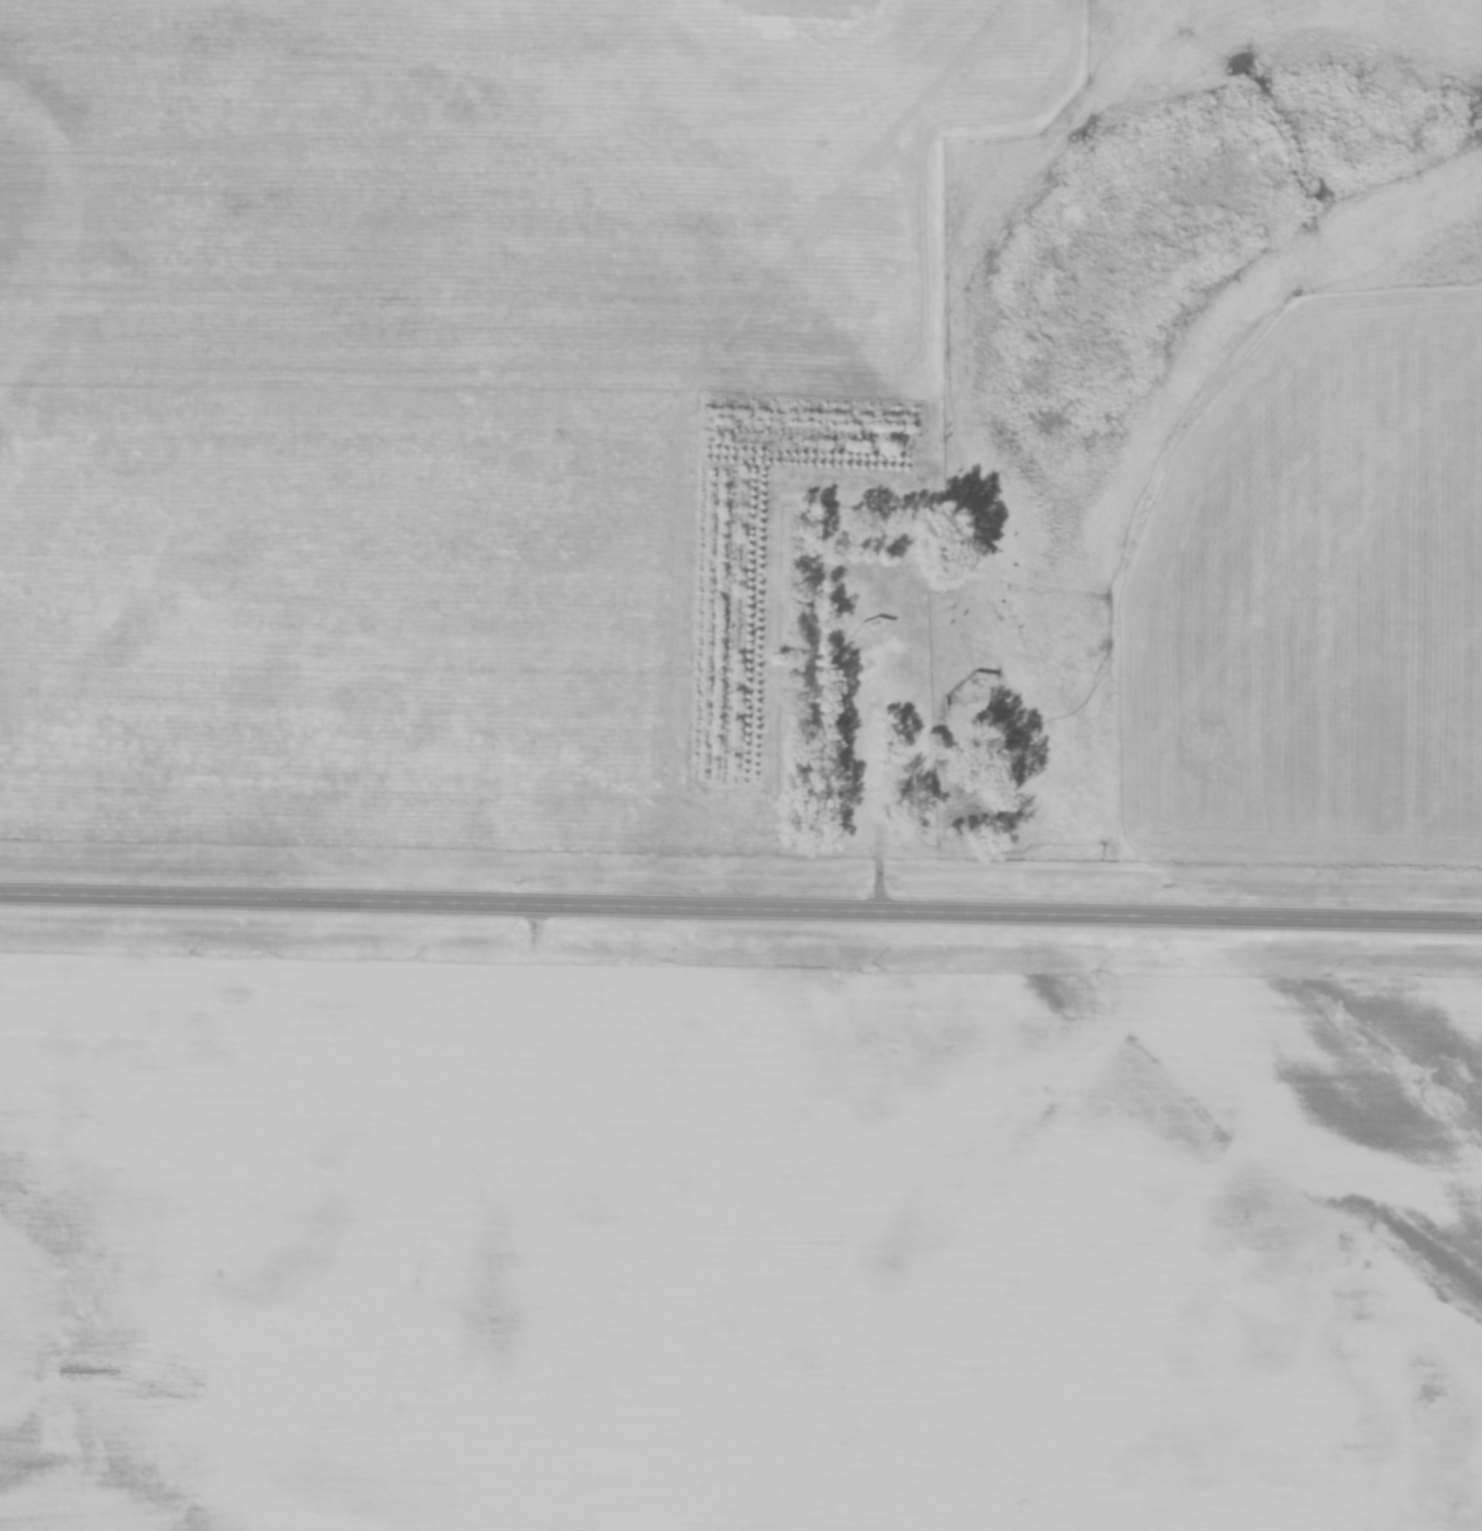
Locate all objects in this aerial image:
building: (962, 697)
road: (741, 910)

